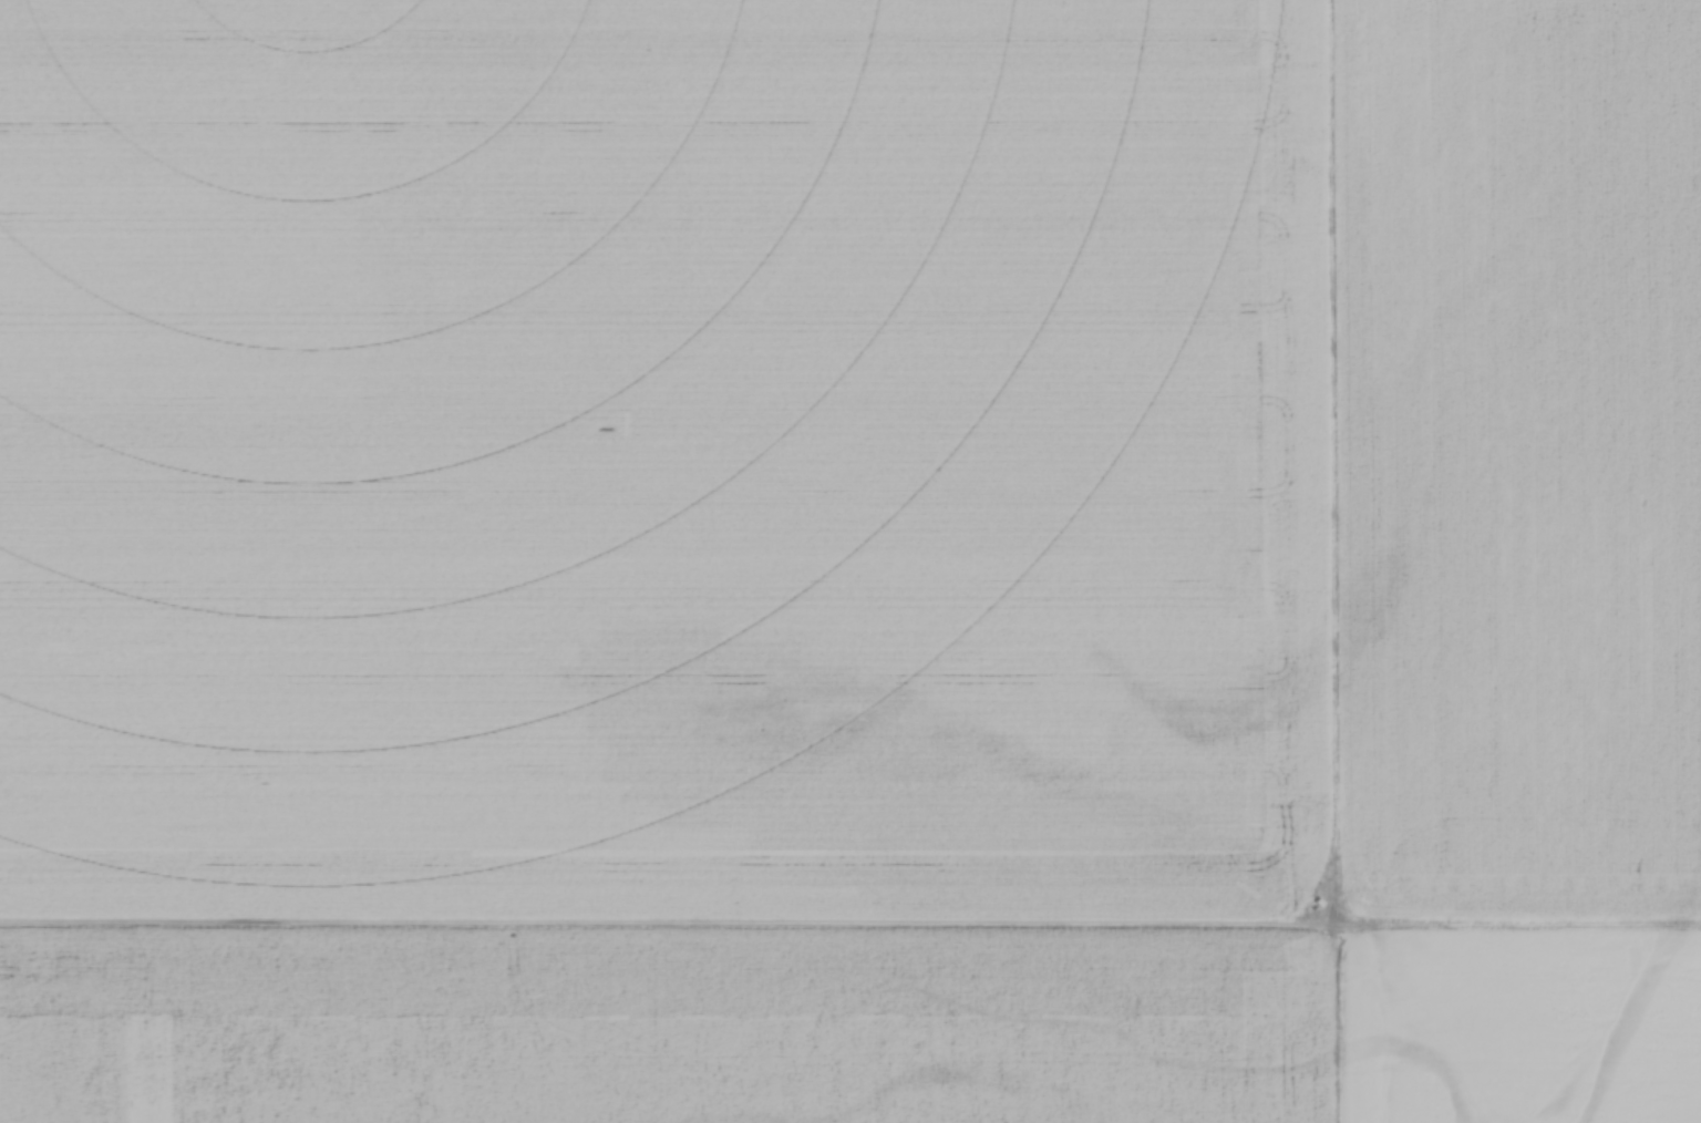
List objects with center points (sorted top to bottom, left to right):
road: (852, 928)

